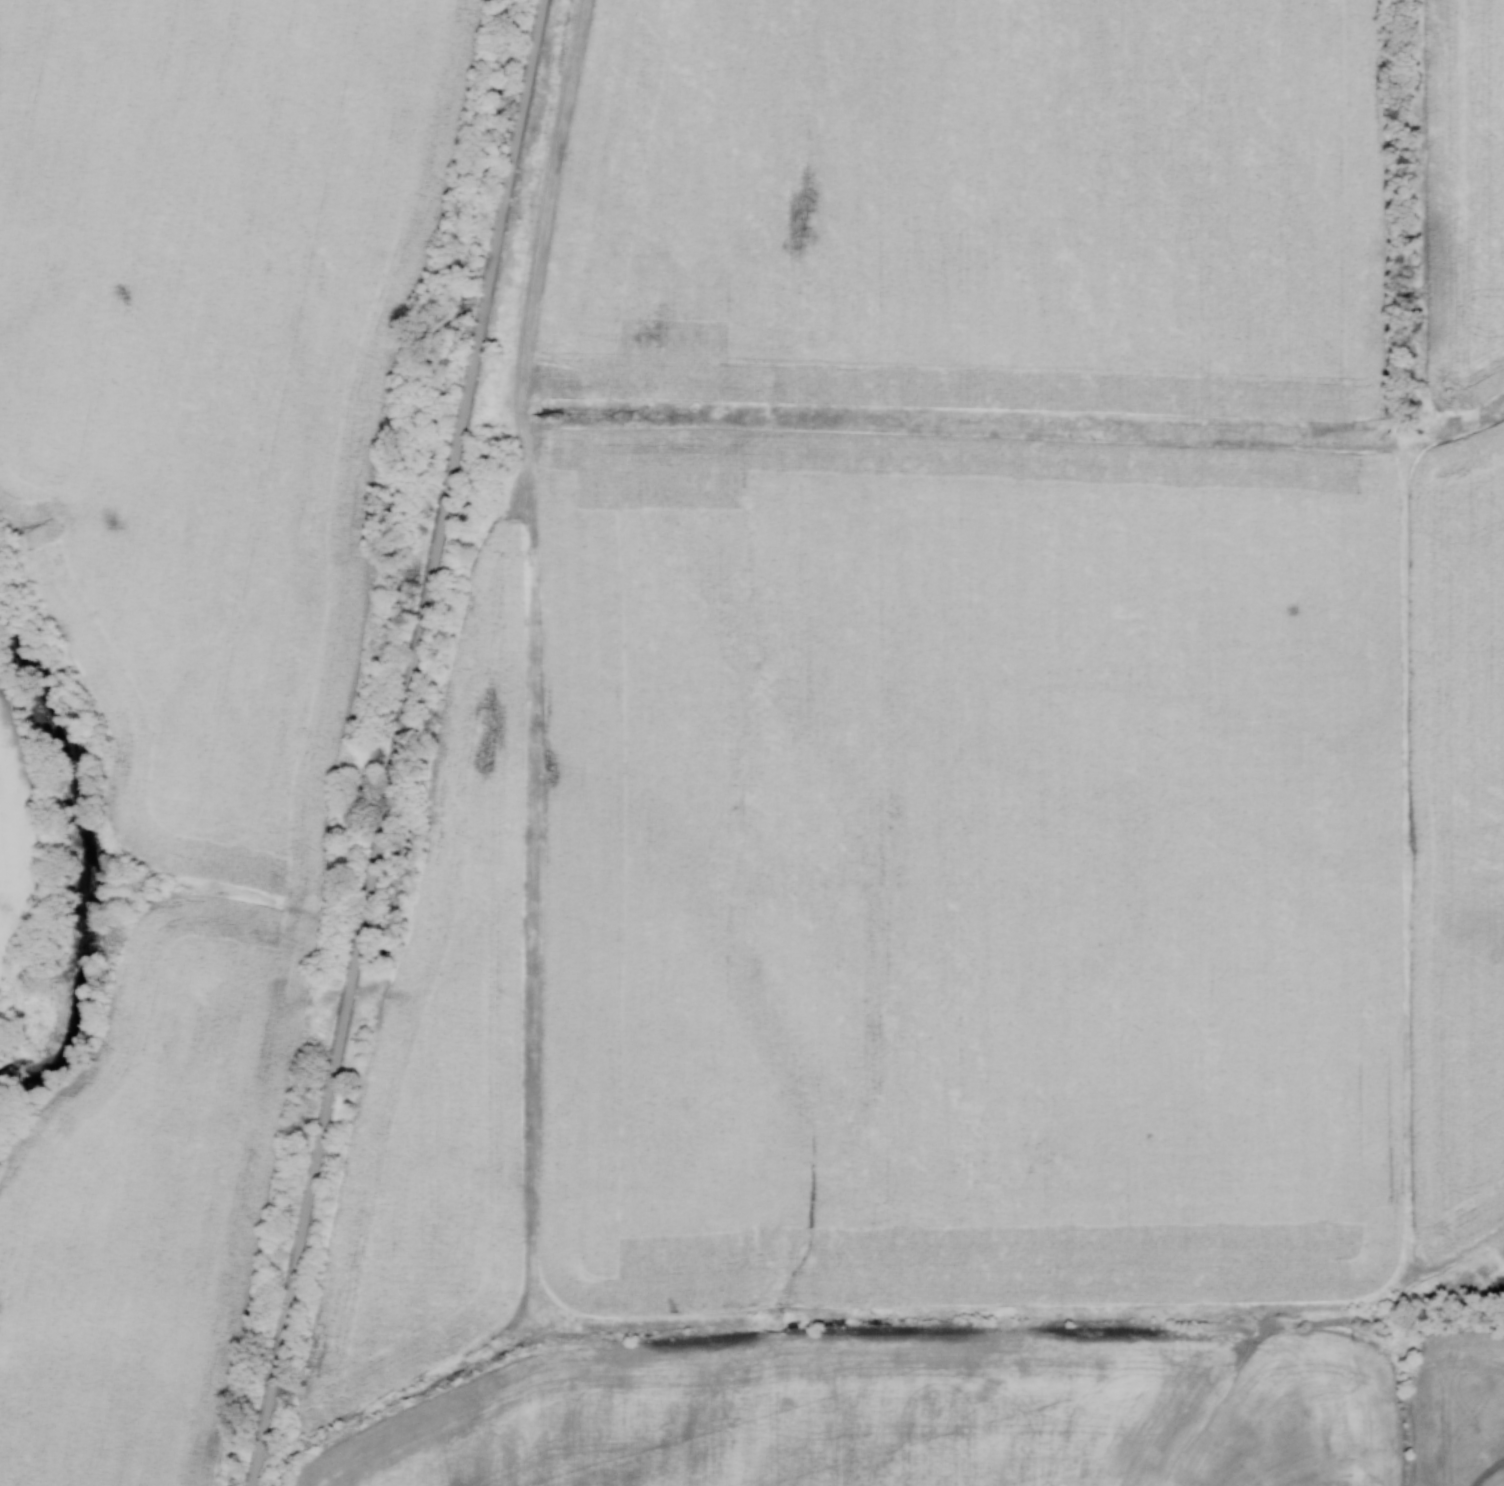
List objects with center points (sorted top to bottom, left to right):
crop: (974, 205)
crop: (220, 375)
road: (397, 743)
crop: (14, 843)
crop: (962, 855)
crop: (145, 1199)

